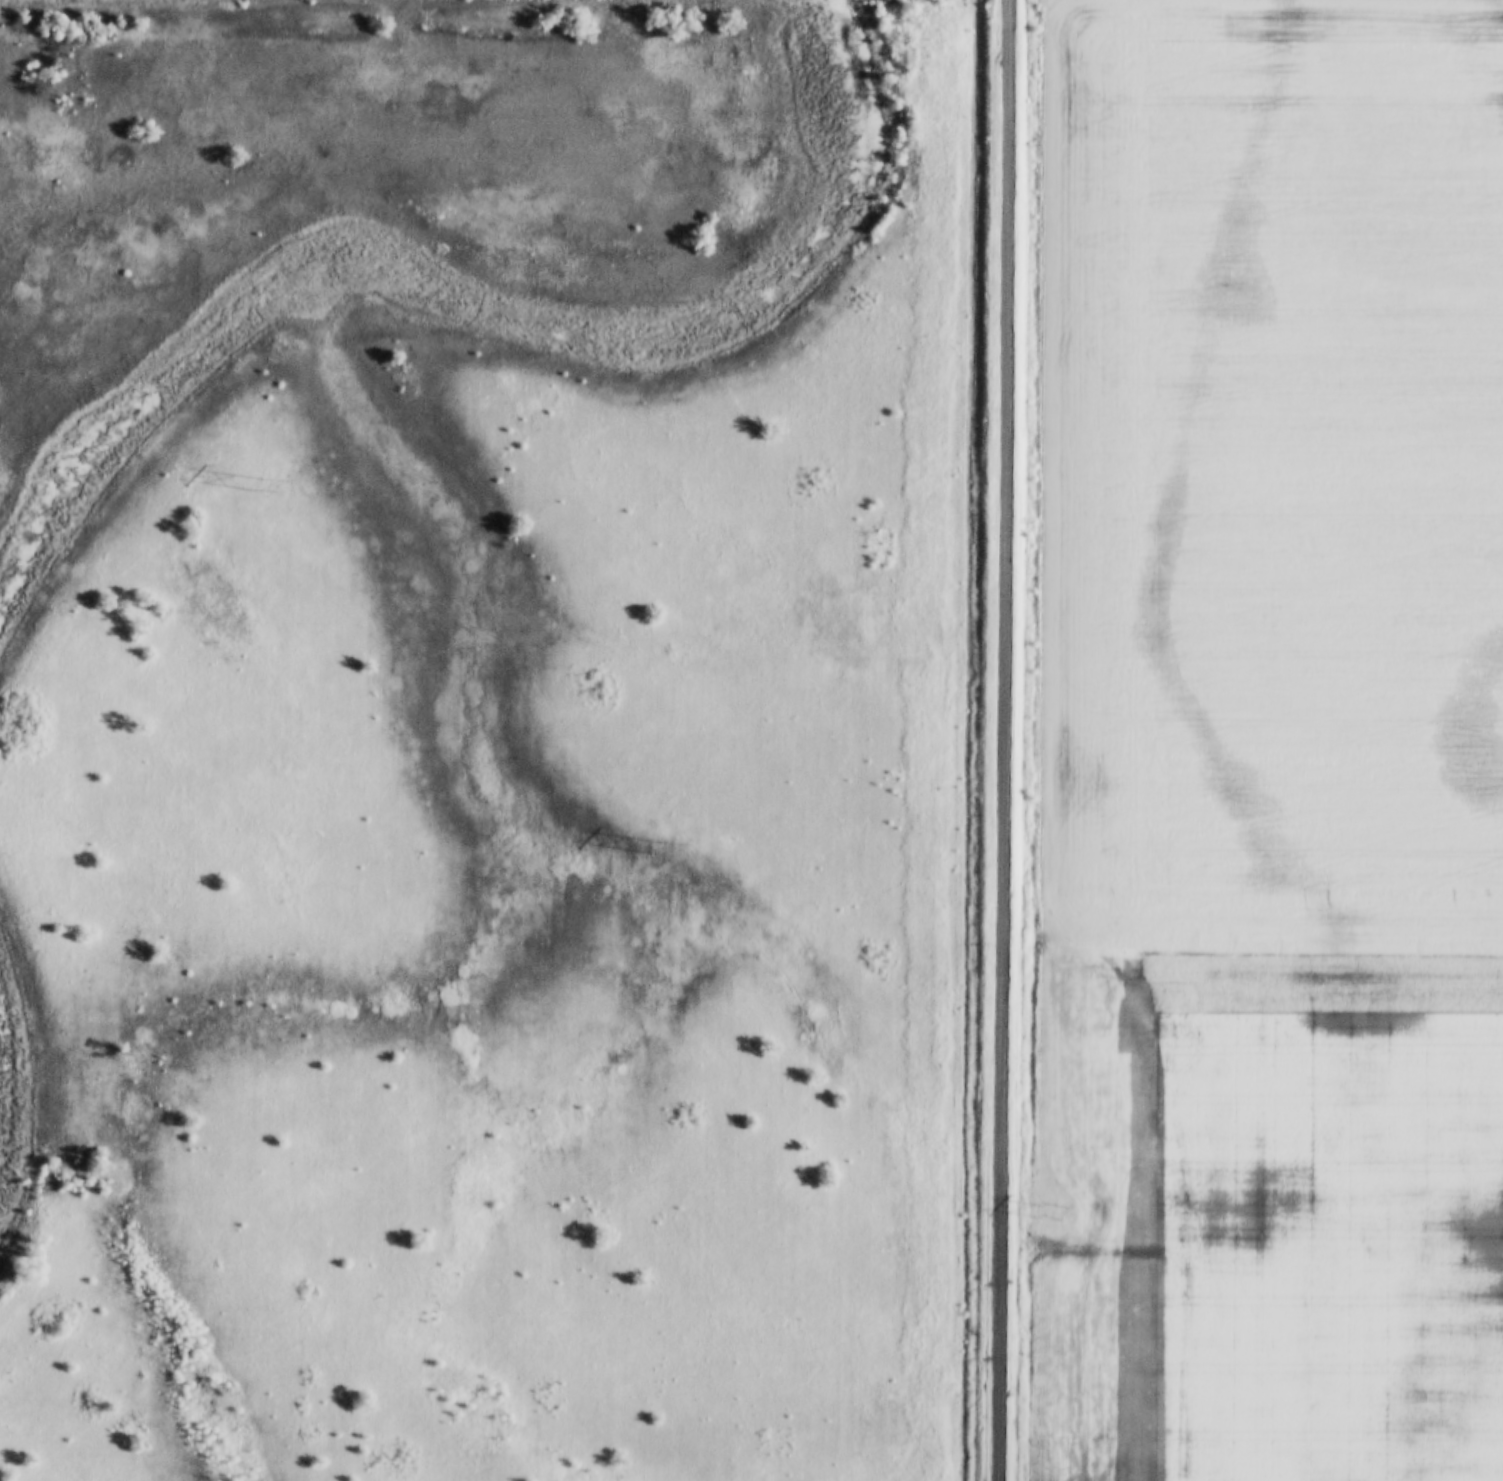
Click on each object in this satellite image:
power tower: (260, 481)
road: (1004, 740)
power tower: (659, 845)
power tower: (1066, 1214)

